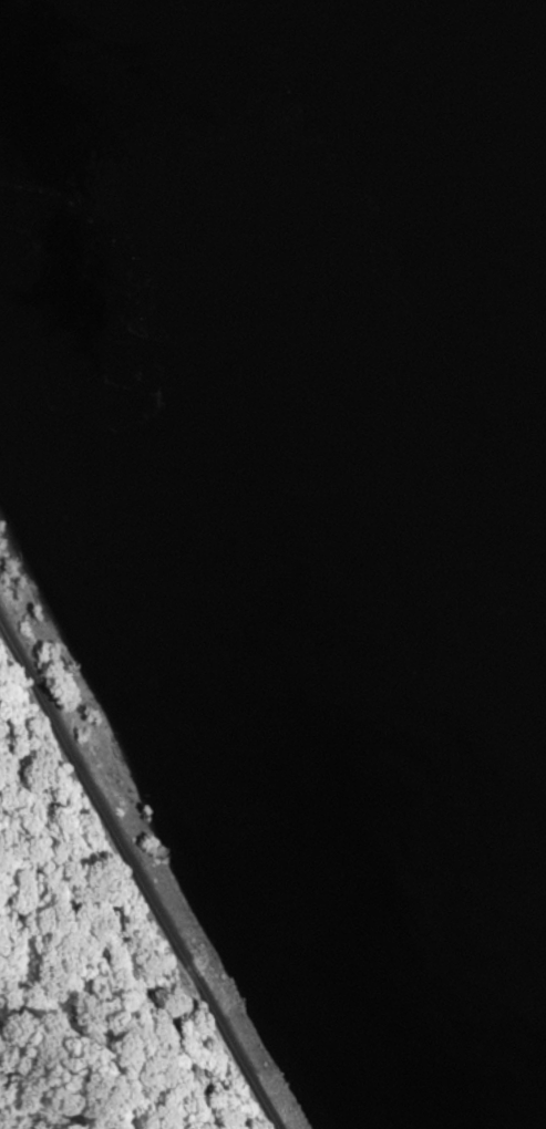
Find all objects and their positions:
railway: (154, 850)

